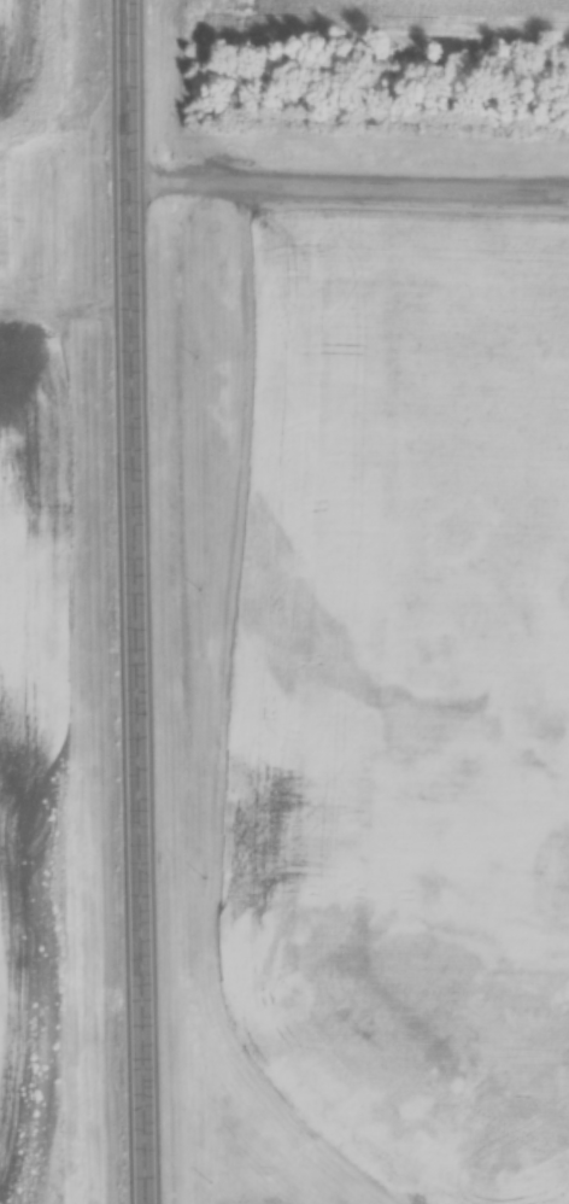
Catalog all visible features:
road: (356, 185)
road: (148, 601)

